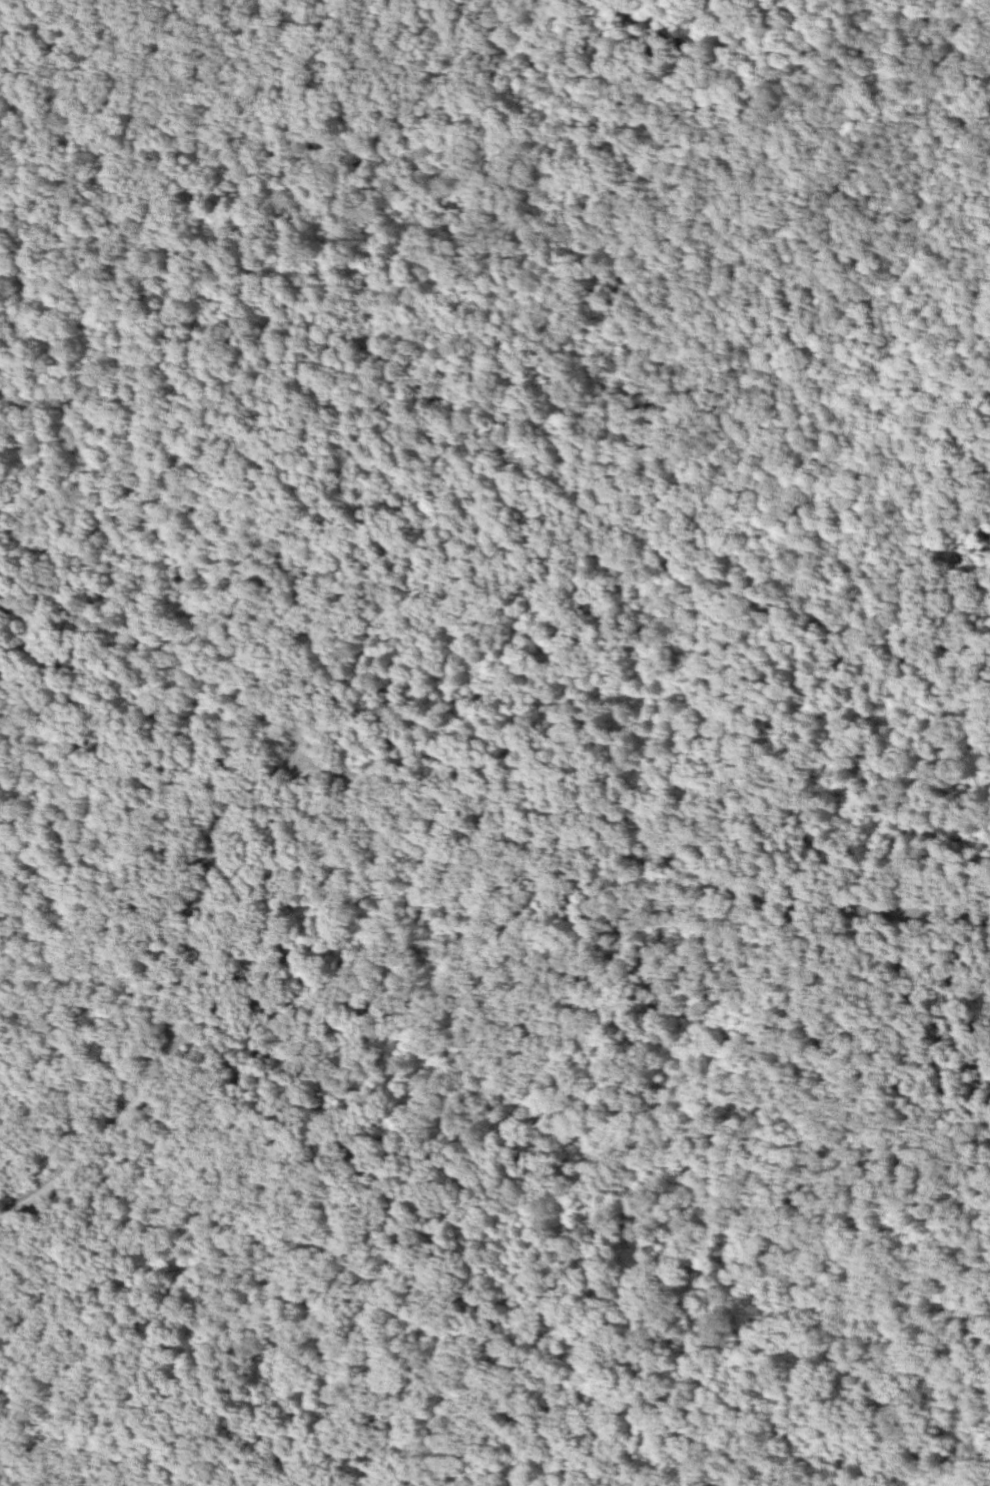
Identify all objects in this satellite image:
road: (369, 791)

